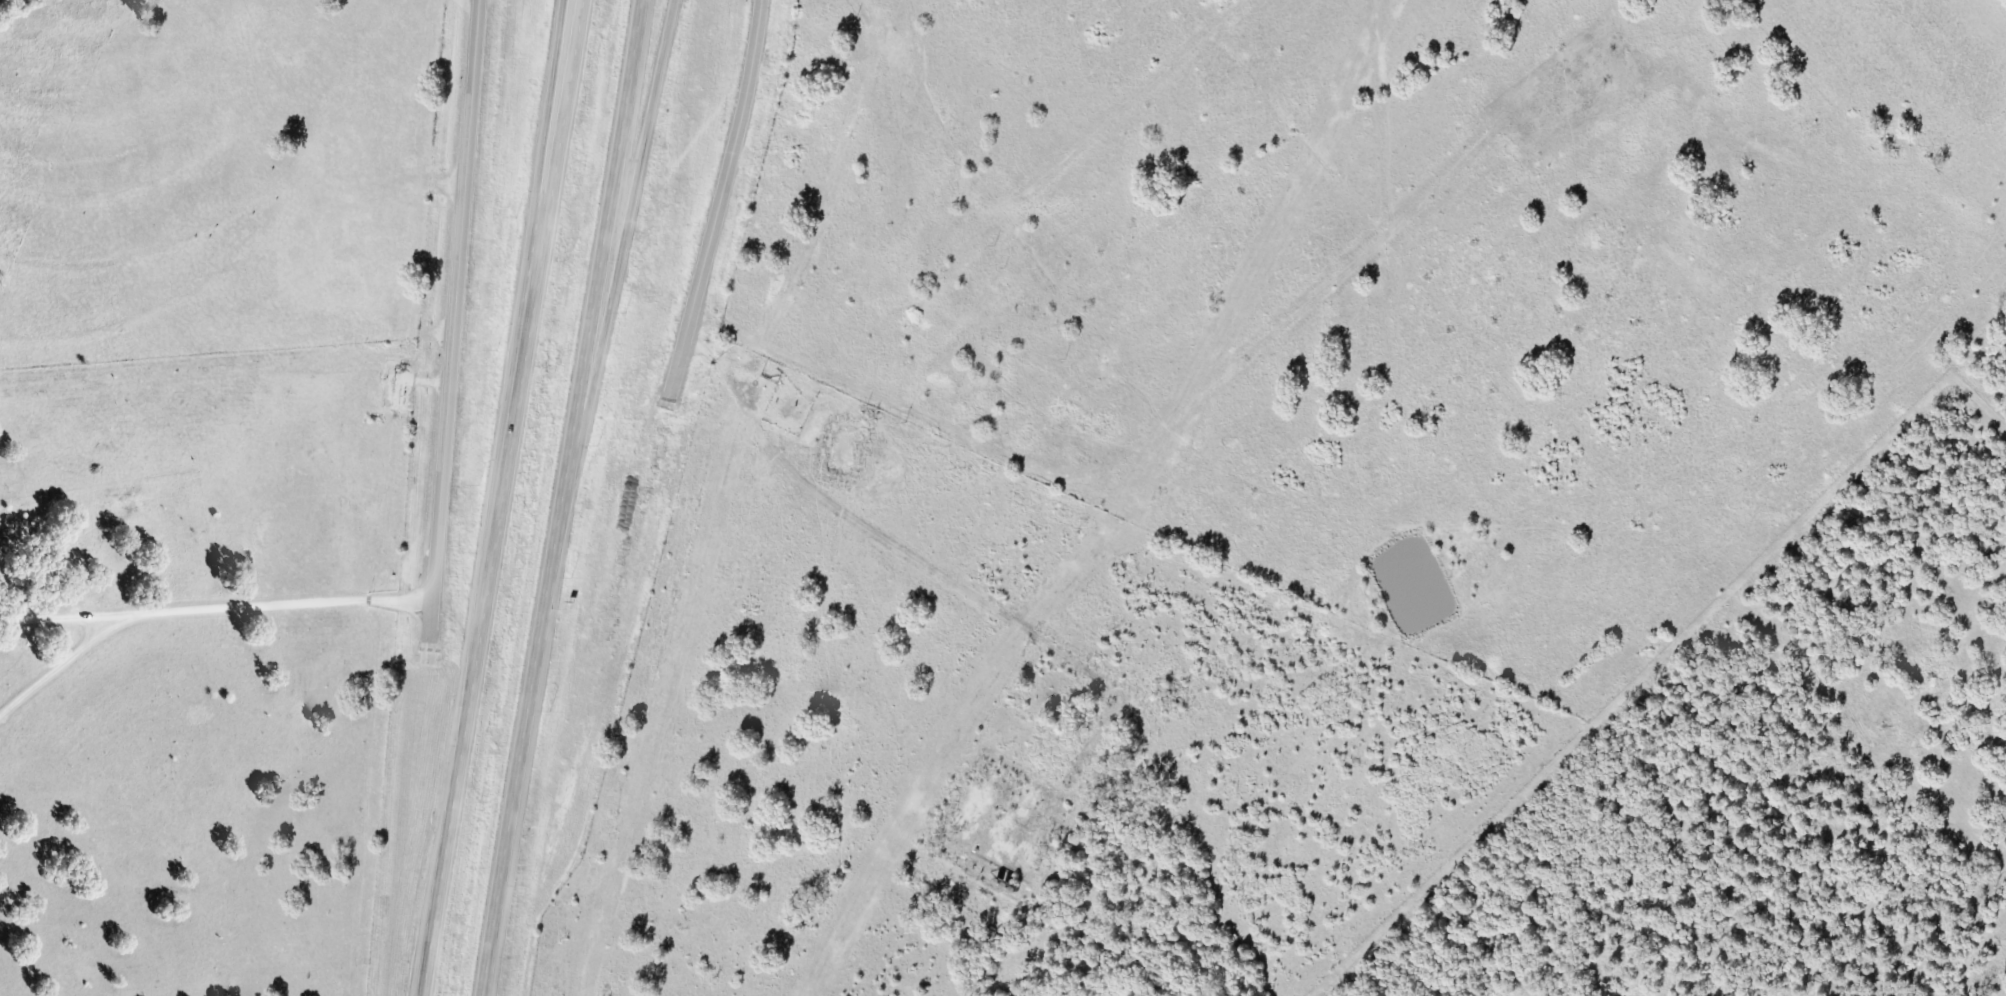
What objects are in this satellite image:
road: (536, 200)
road: (719, 201)
road: (612, 287)
road: (455, 319)
road: (500, 497)
road: (559, 497)
road: (216, 607)

